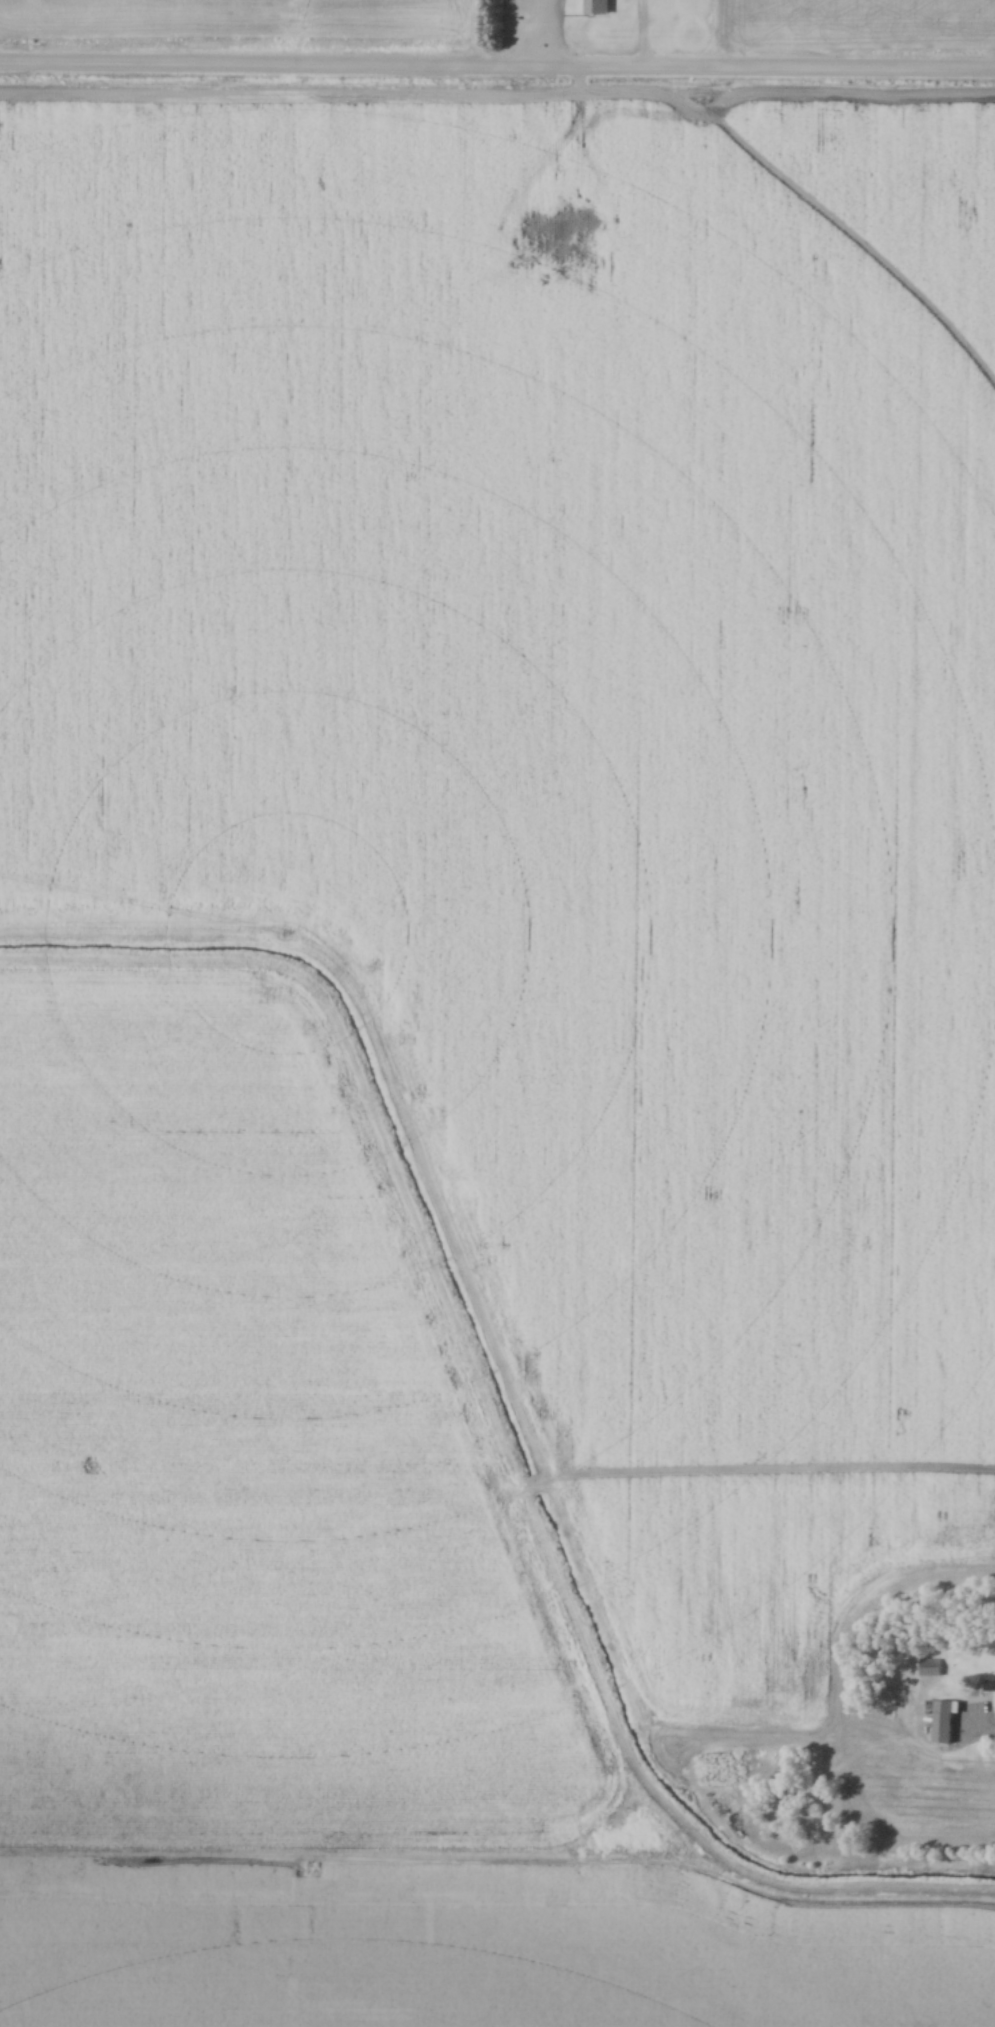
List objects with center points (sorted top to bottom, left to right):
building: (598, 6)
crop: (241, 21)
crop: (853, 25)
road: (546, 33)
road: (641, 33)
road: (497, 65)
crop: (567, 740)
crop: (303, 1593)
building: (930, 1665)
building: (991, 1684)
building: (943, 1717)
road: (978, 1728)
building: (789, 1761)

